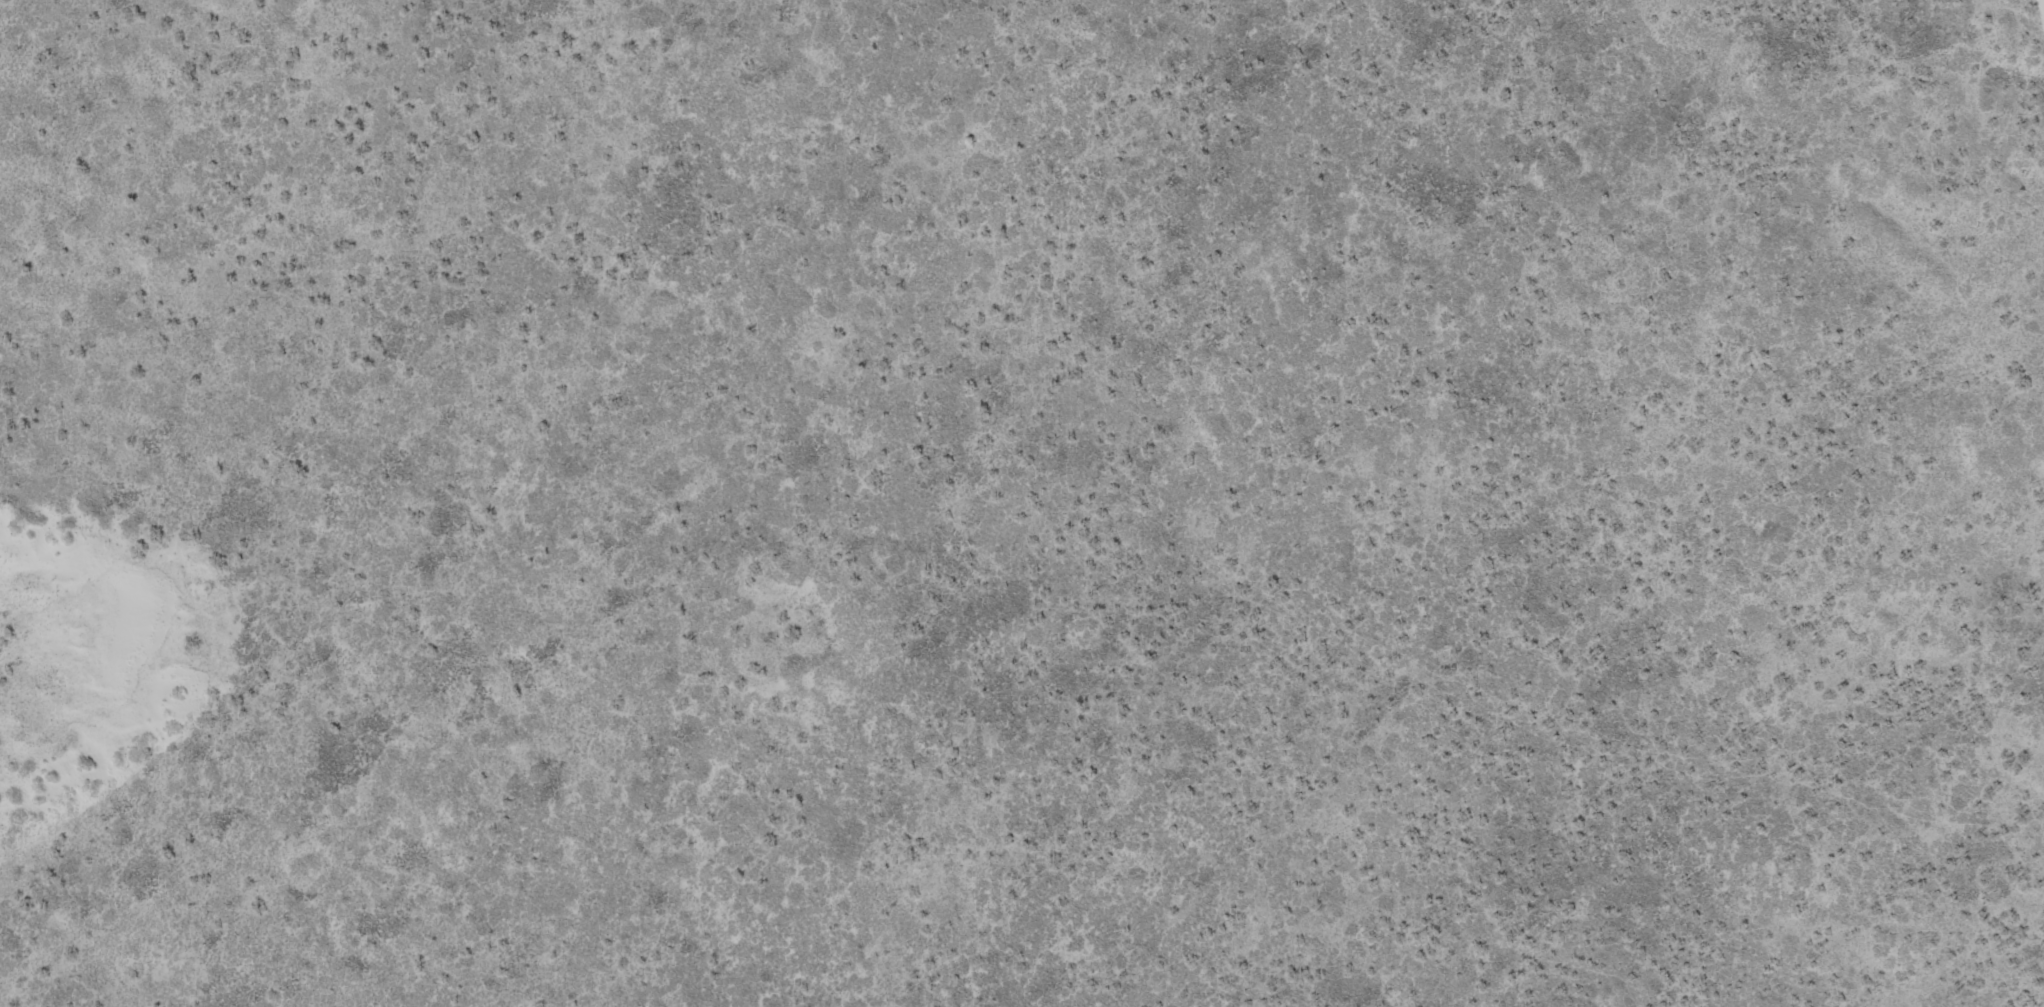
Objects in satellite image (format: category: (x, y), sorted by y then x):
road: (2039, 16)

